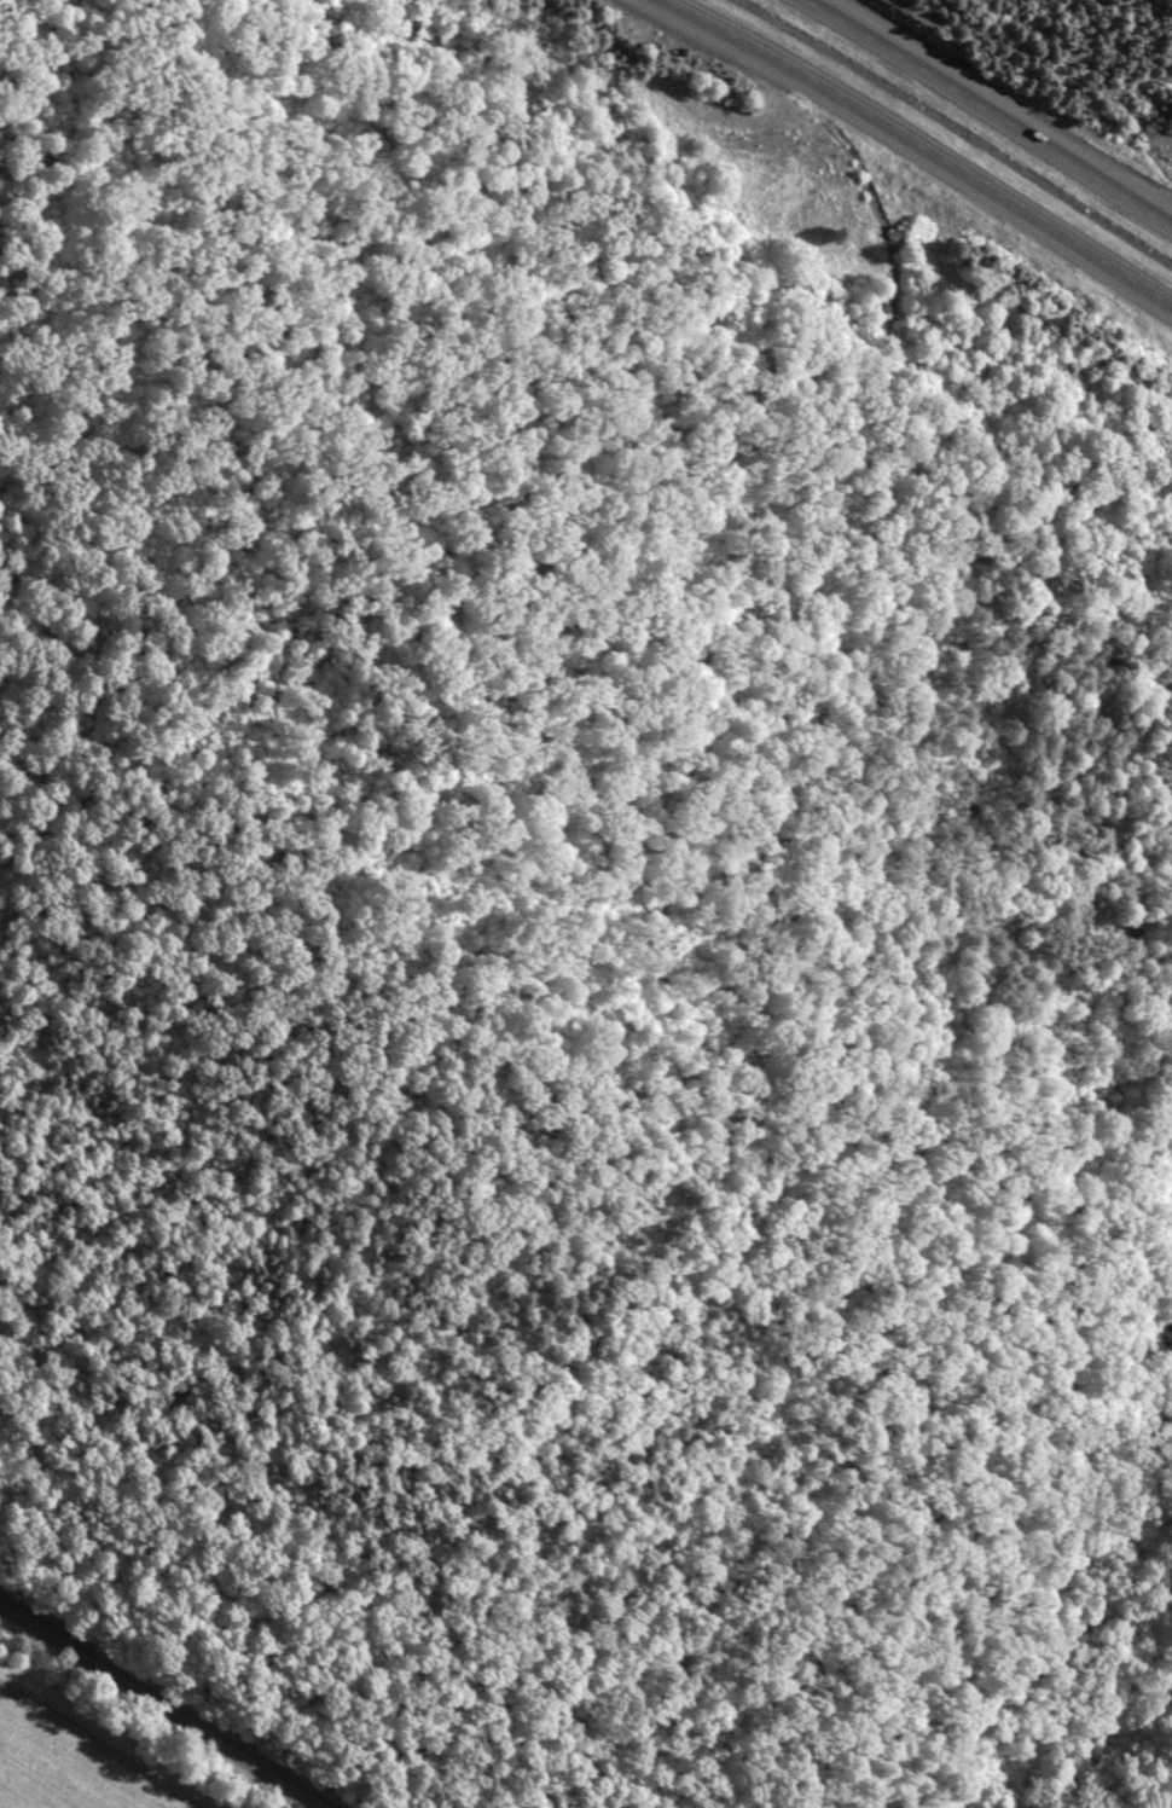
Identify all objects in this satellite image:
road: (988, 111)
road: (919, 146)
road: (167, 1704)

